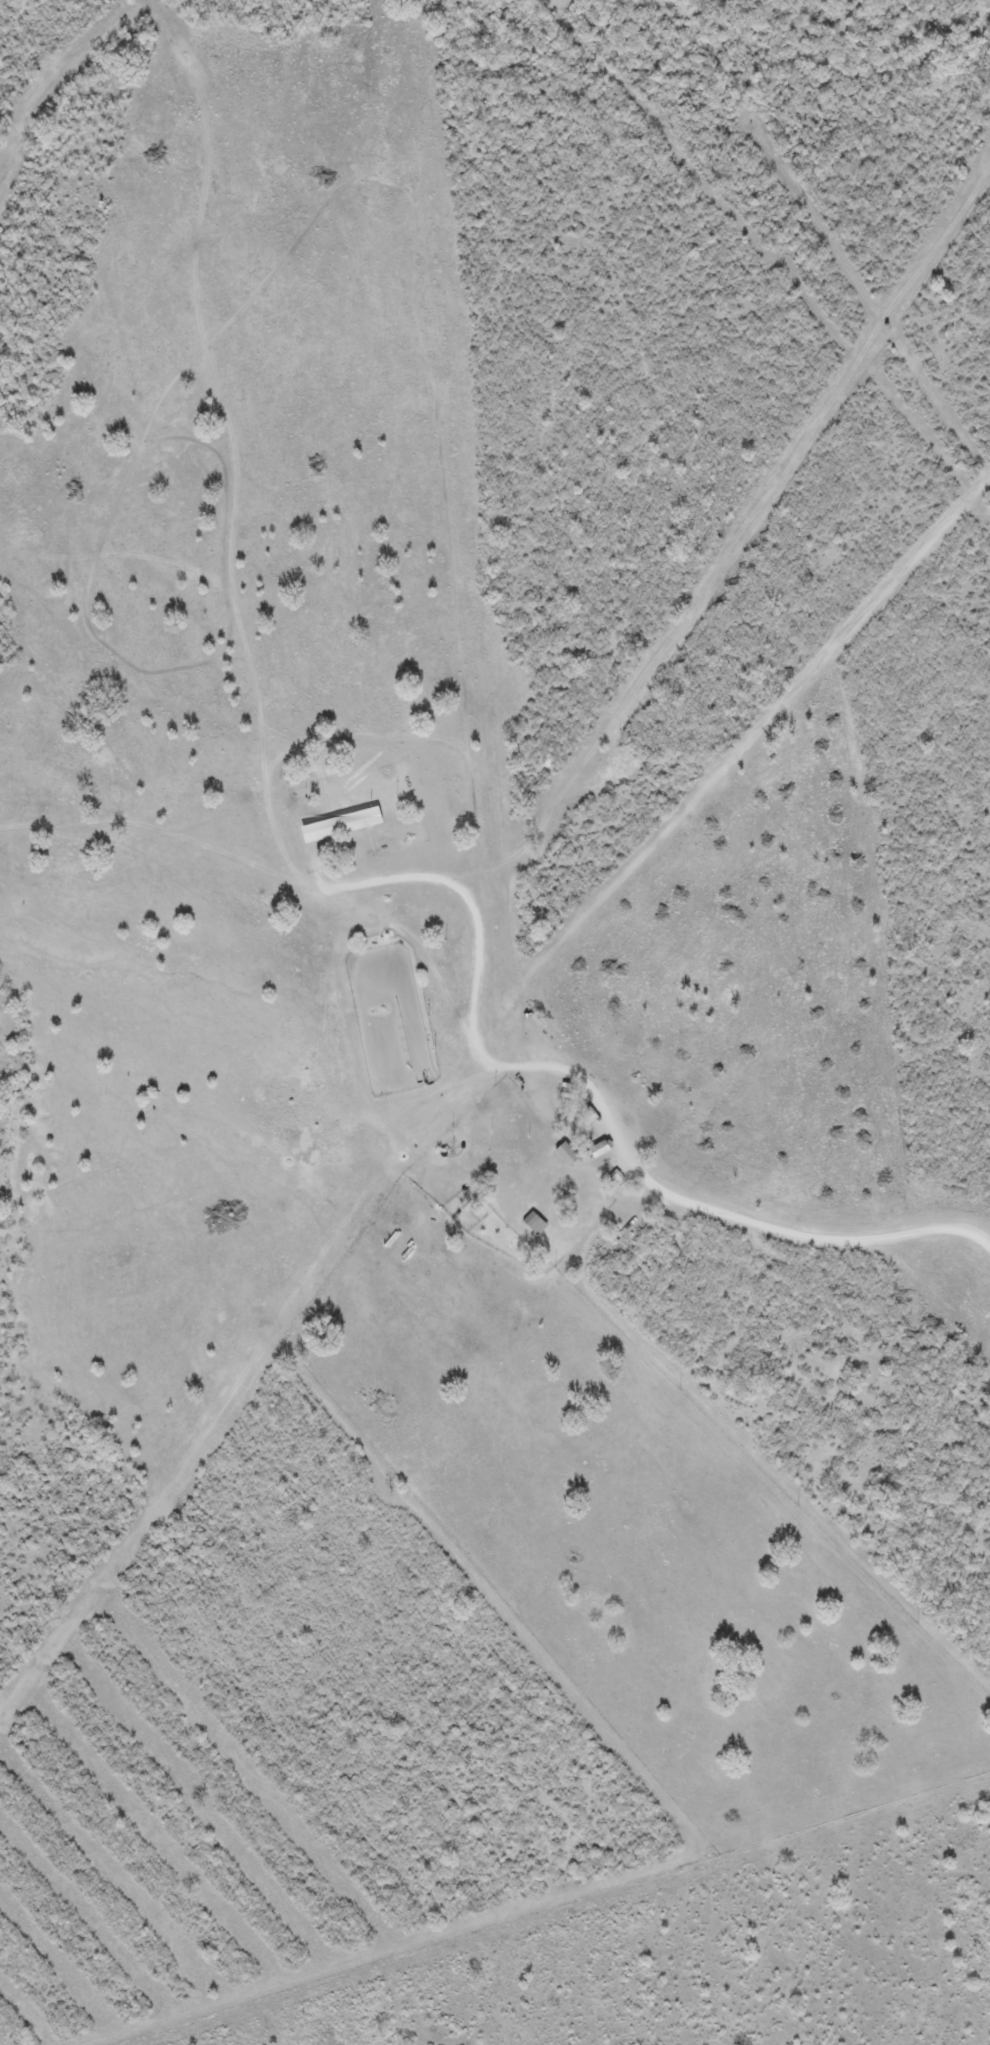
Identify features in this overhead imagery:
building: (340, 823)
road: (599, 1103)
building: (598, 1147)
building: (566, 1152)
building: (537, 1225)

